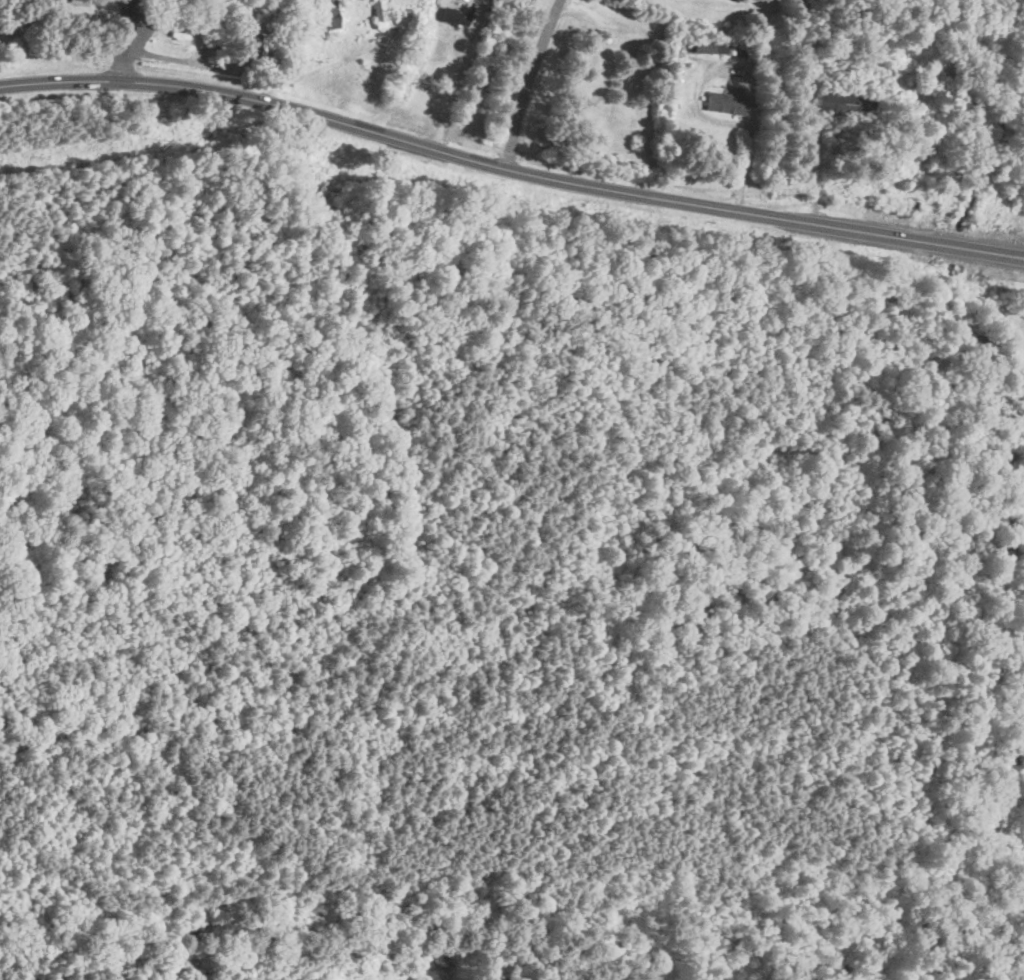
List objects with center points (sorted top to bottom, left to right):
road: (157, 8)
building: (382, 13)
building: (326, 14)
building: (454, 15)
road: (187, 17)
road: (140, 39)
building: (702, 46)
road: (528, 81)
road: (458, 85)
building: (725, 102)
building: (843, 104)
road: (510, 167)

